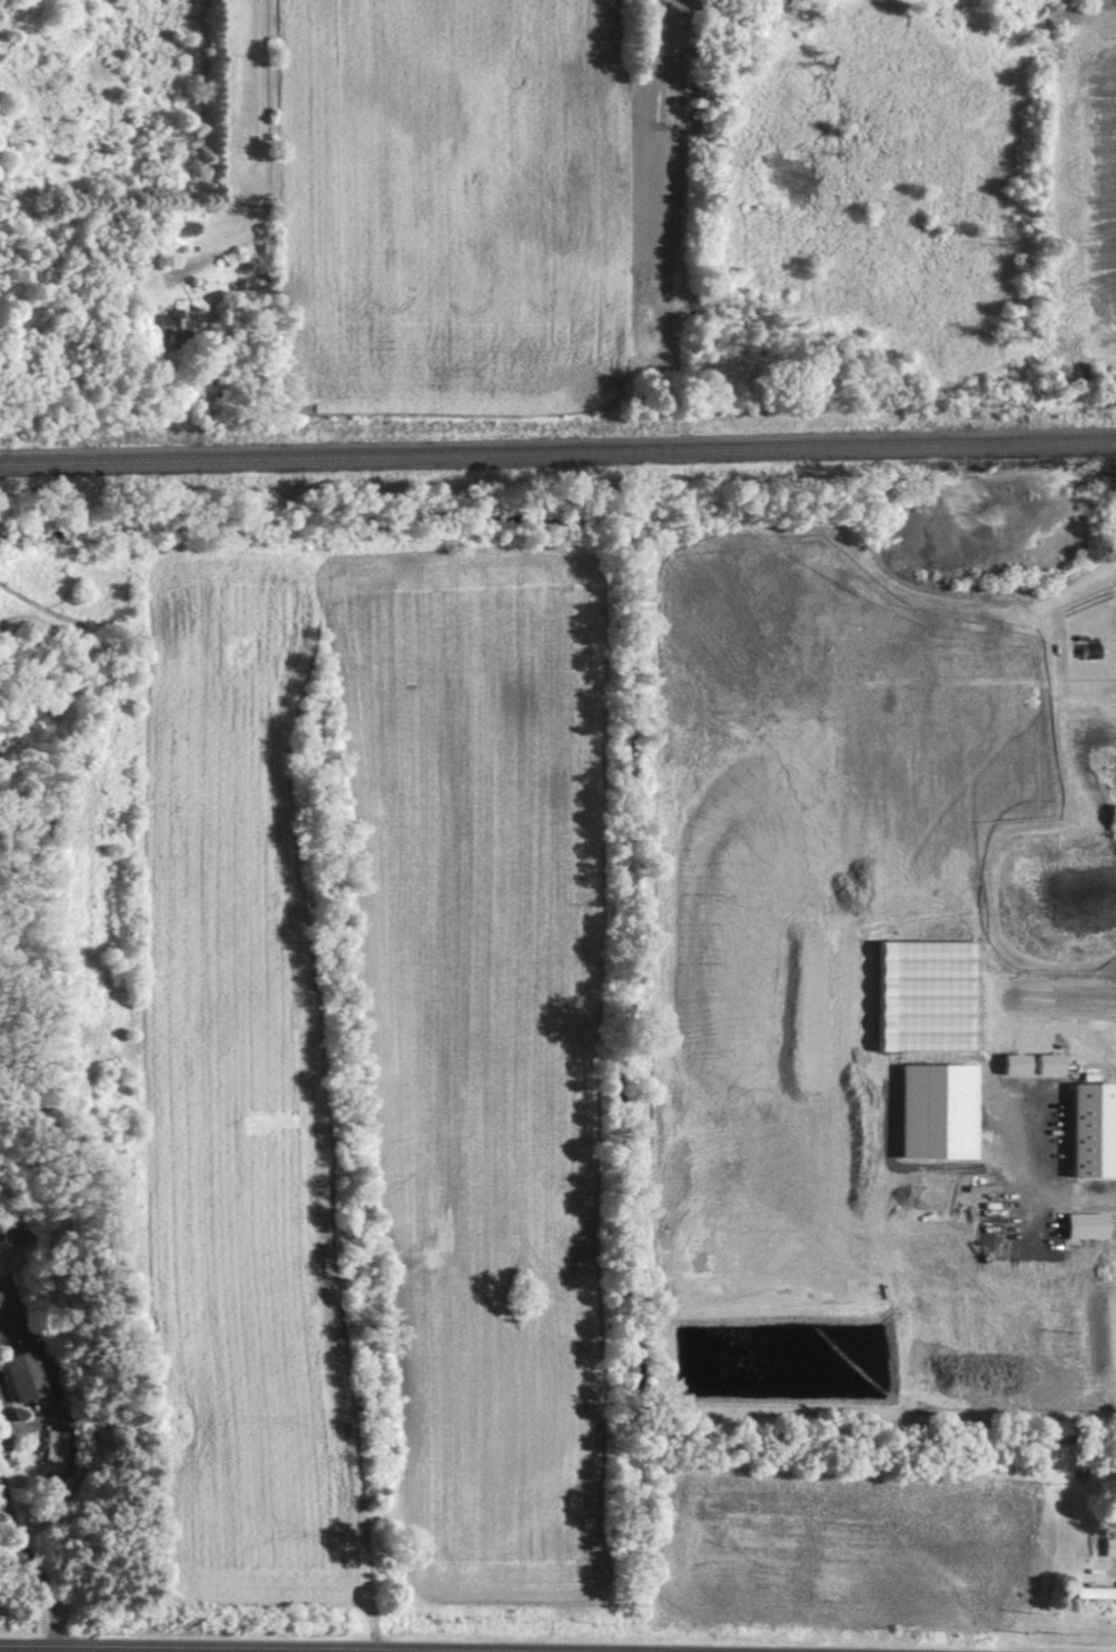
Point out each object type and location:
road: (251, 147)
railway: (557, 447)
road: (1077, 1193)
building: (14, 1235)
building: (29, 1373)
road: (2, 1422)
building: (52, 1450)
building: (1106, 1545)
road: (37, 1570)
building: (1092, 1591)

